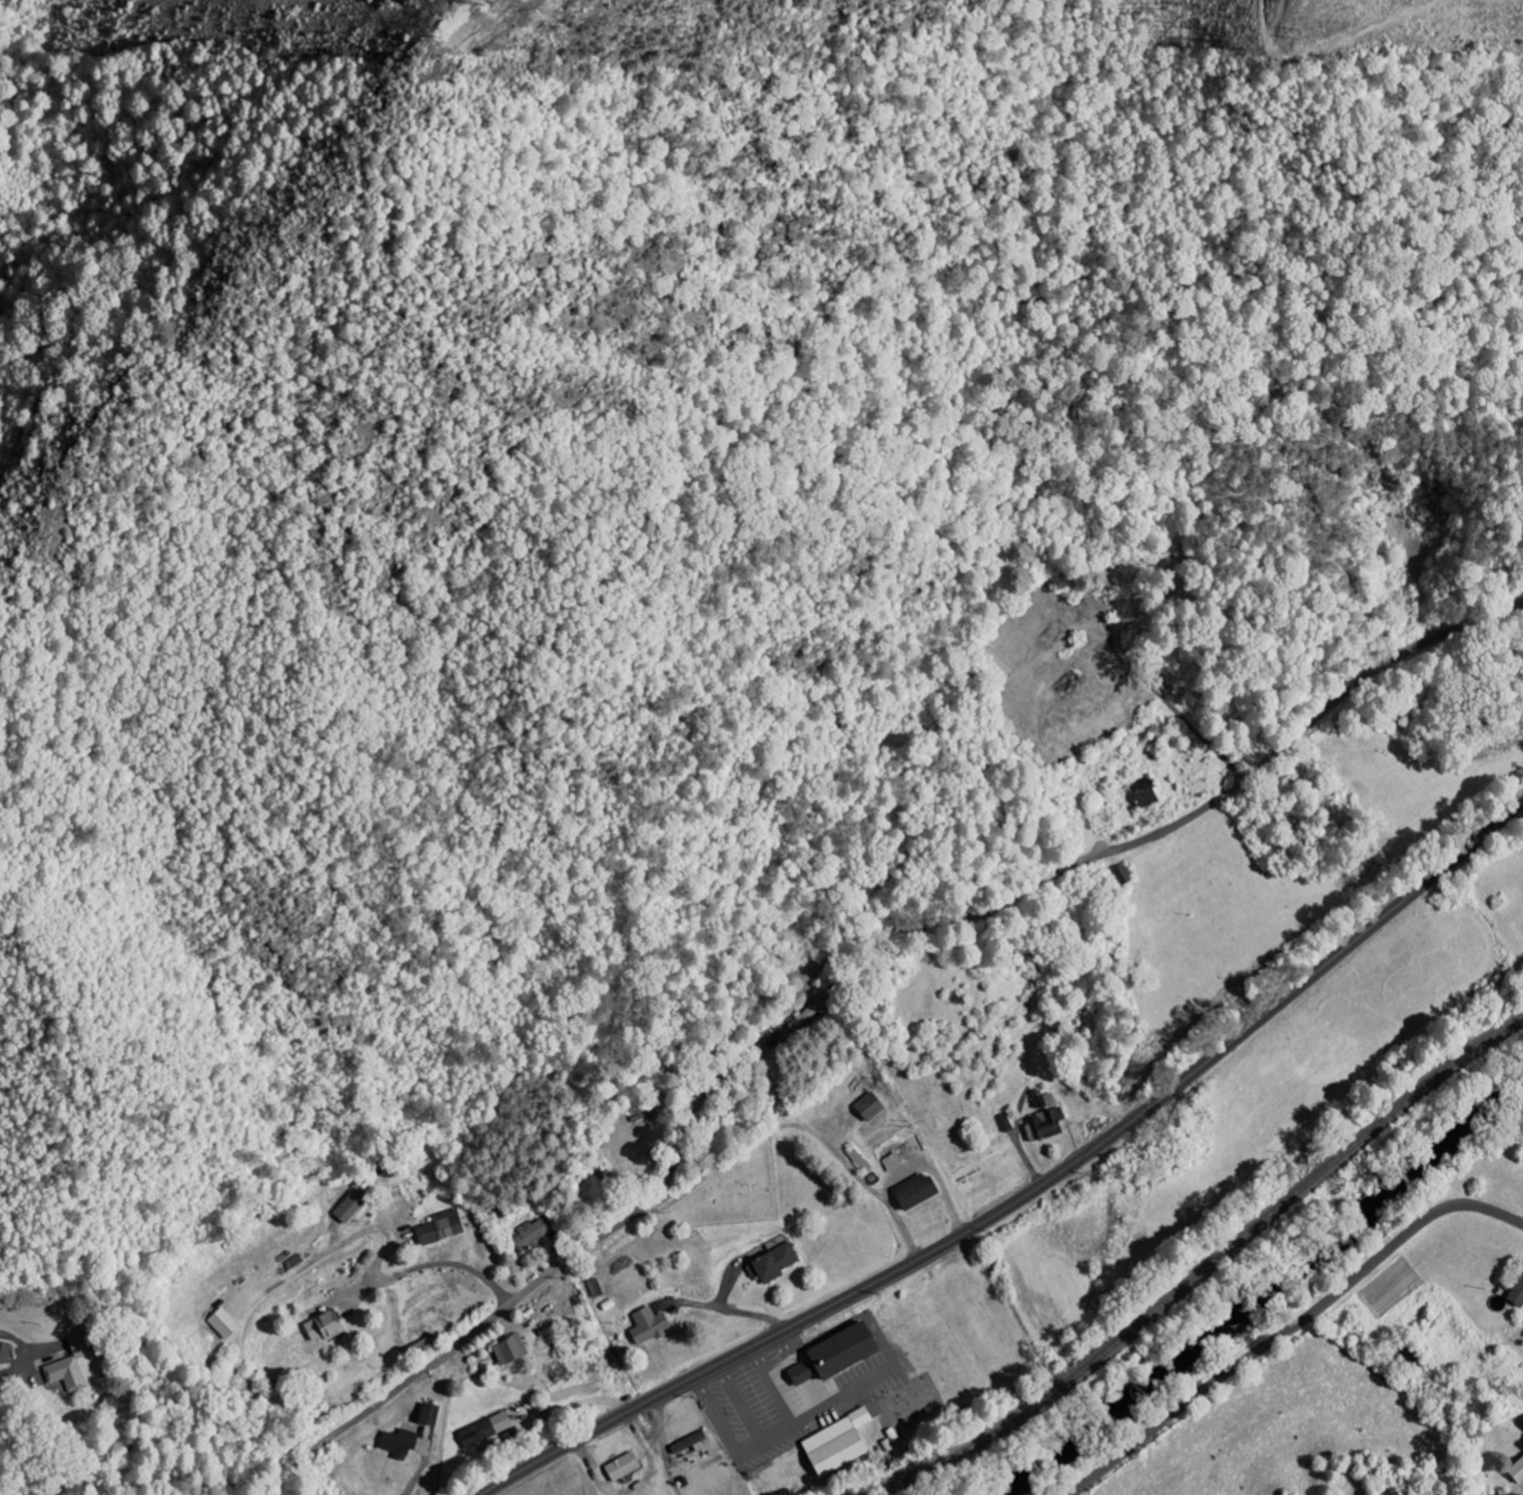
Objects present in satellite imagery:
road: (1178, 715)
building: (1141, 796)
road: (828, 957)
building: (808, 1014)
road: (737, 1021)
building: (1048, 1126)
building: (921, 1191)
road: (1031, 1192)
building: (354, 1207)
building: (445, 1227)
building: (532, 1234)
building: (778, 1263)
railway: (1203, 1277)
building: (1516, 1294)
building: (227, 1324)
building: (329, 1326)
building: (653, 1326)
road: (1291, 1328)
building: (513, 1351)
building: (8, 1353)
building: (844, 1354)
building: (73, 1367)
road: (1, 1373)
building: (434, 1415)
building: (490, 1430)
building: (403, 1444)
building: (693, 1444)
building: (842, 1444)
building: (626, 1467)
building: (1516, 1471)

